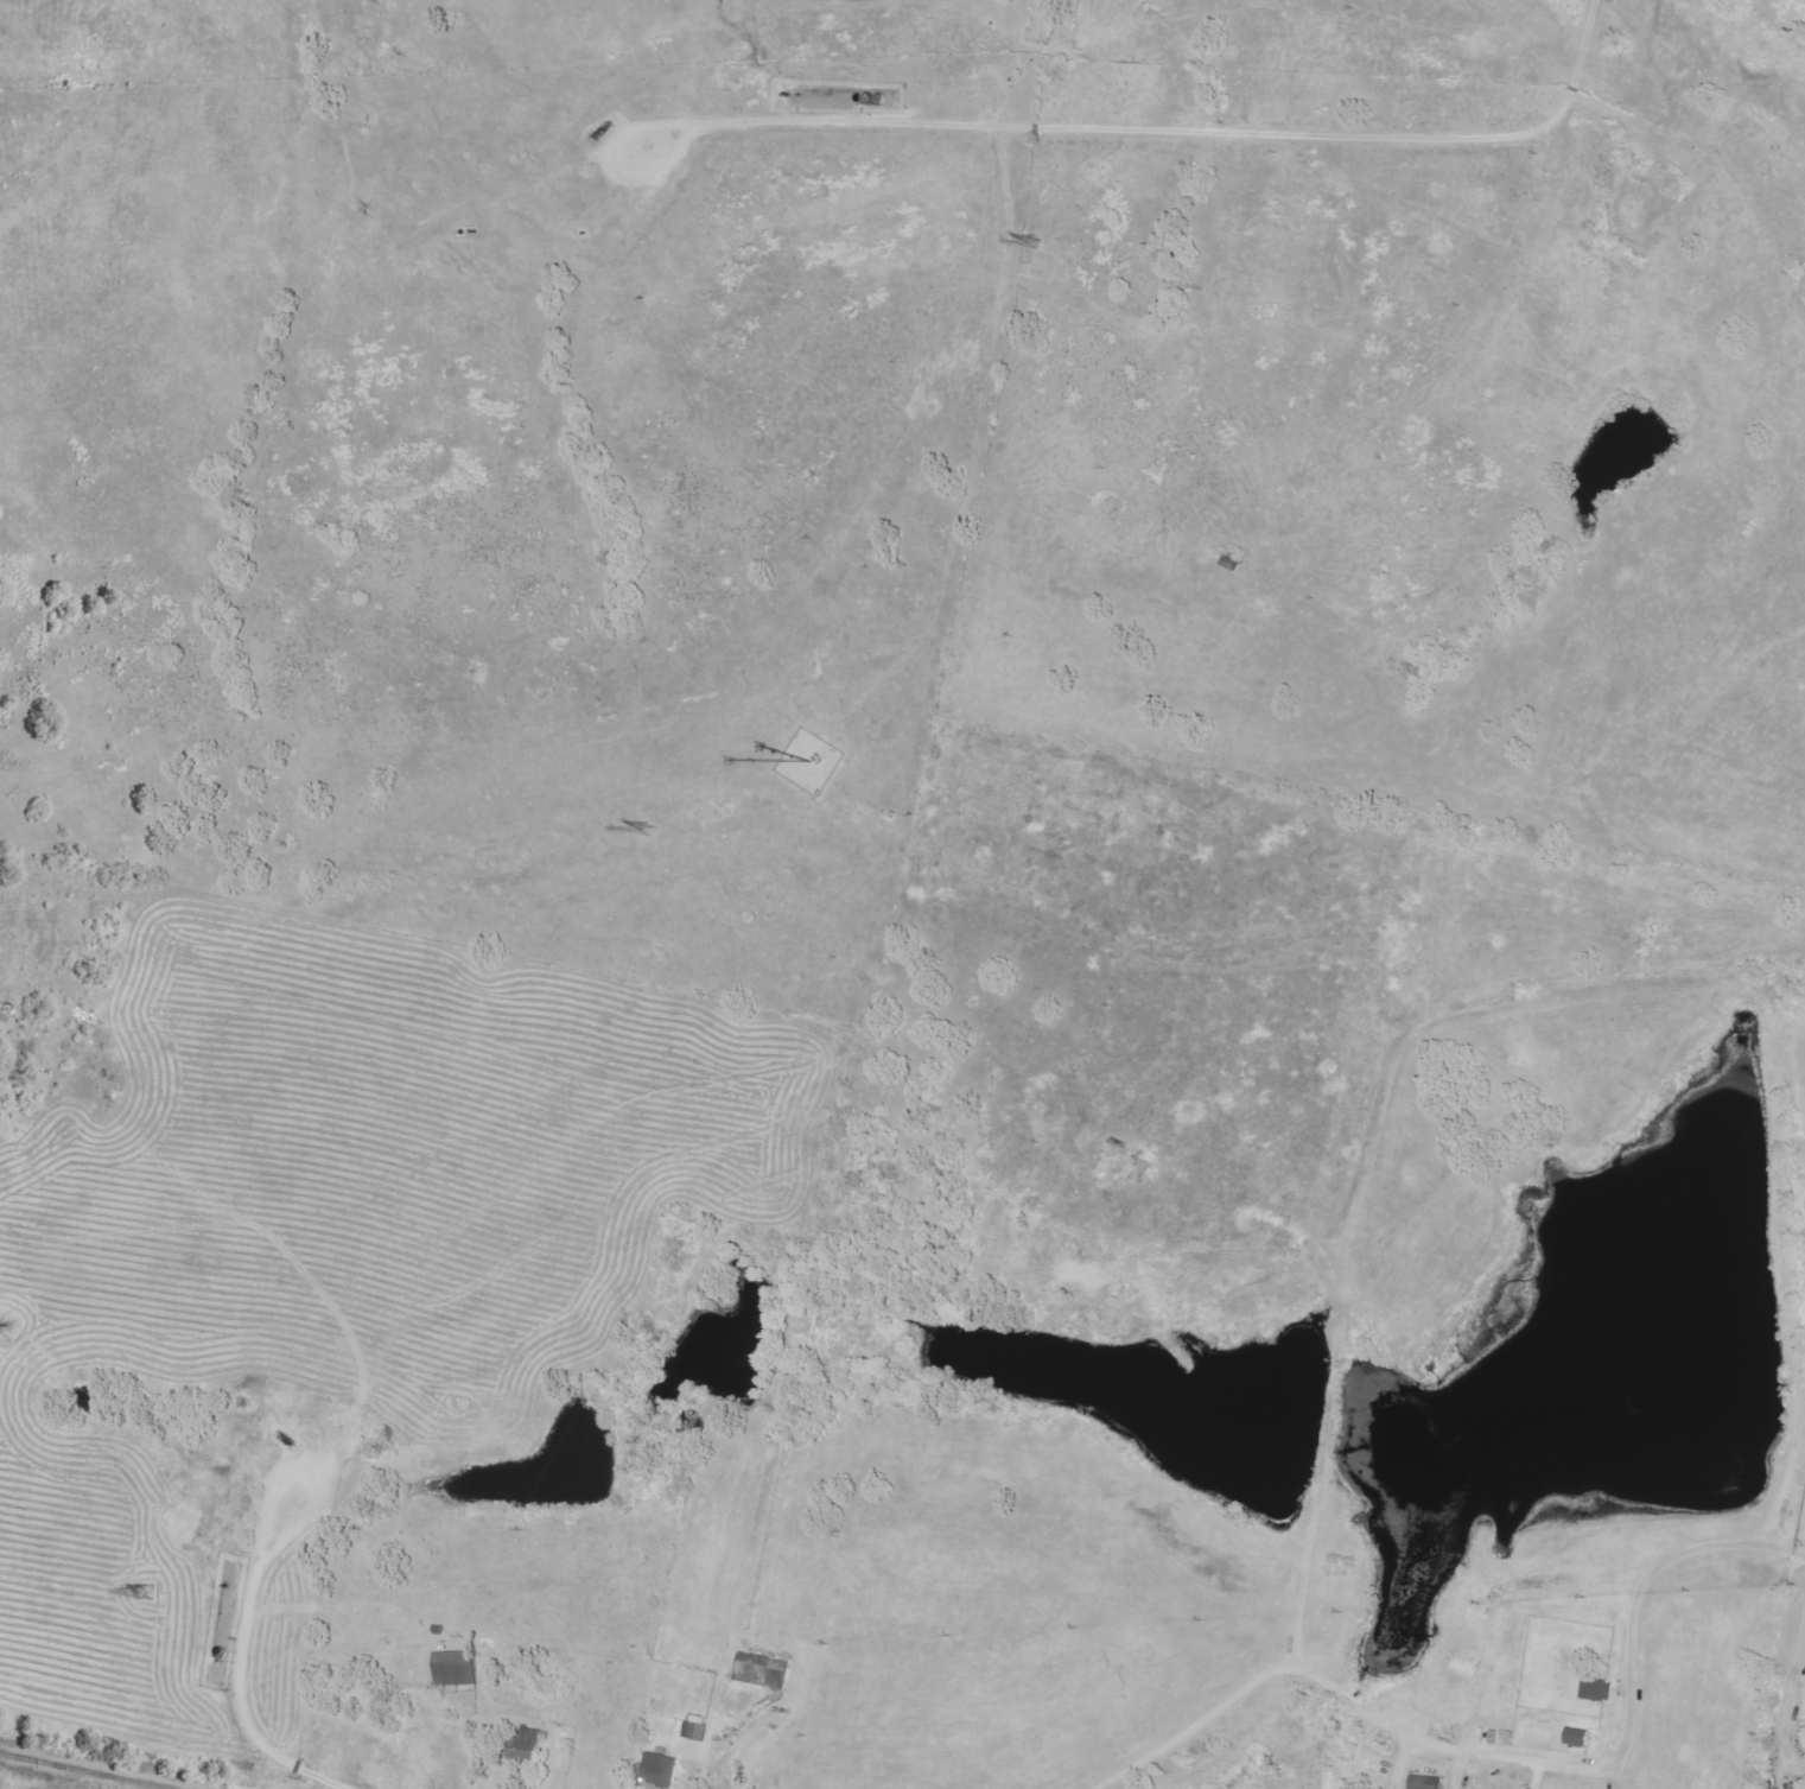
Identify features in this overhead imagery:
petroleum well: (595, 131)
road: (1195, 134)
power tower: (1030, 242)
power tower: (646, 830)
road: (1797, 1552)
power tower: (144, 1592)
building: (456, 1669)
building: (762, 1671)
building: (1595, 1690)
building: (698, 1728)
building: (1581, 1738)
building: (530, 1744)
road: (345, 1749)
road: (1488, 1755)
railway: (9, 1756)
railway: (9, 1756)
railway: (96, 1772)
road: (1533, 1775)
building: (1426, 1782)

